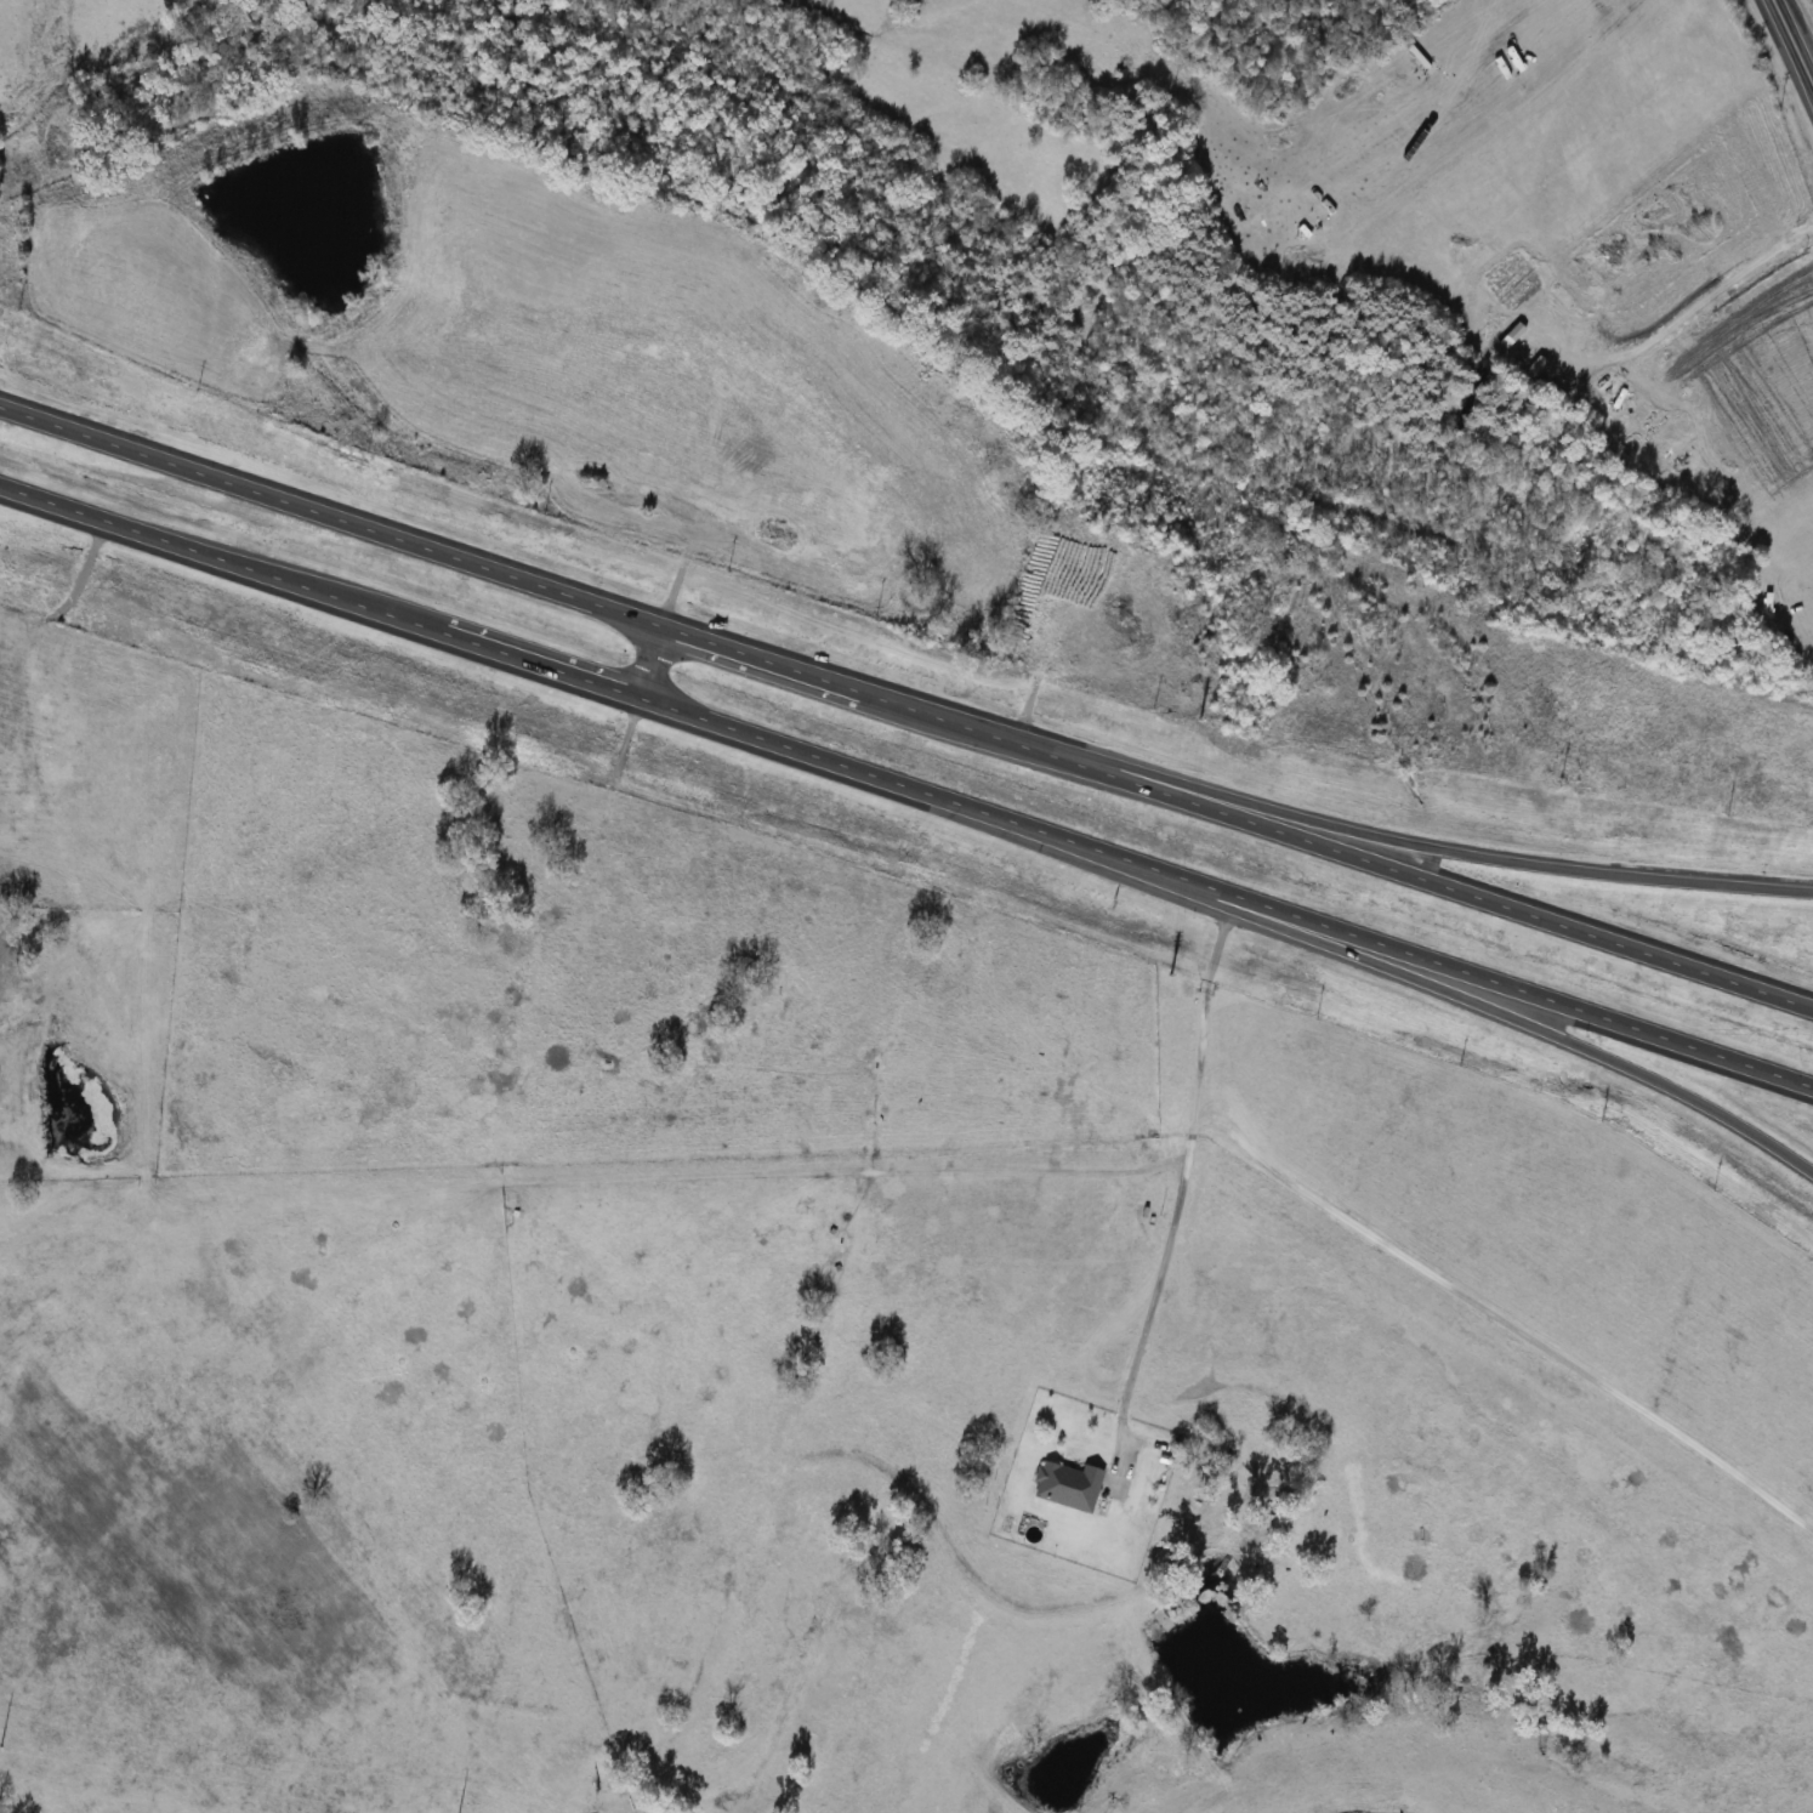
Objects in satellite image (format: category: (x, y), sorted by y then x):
road: (1789, 49)
road: (657, 663)
road: (906, 706)
road: (906, 783)
road: (1353, 817)
road: (1434, 982)
road: (1183, 1172)
building: (1065, 1485)
power tower: (0, 1745)

